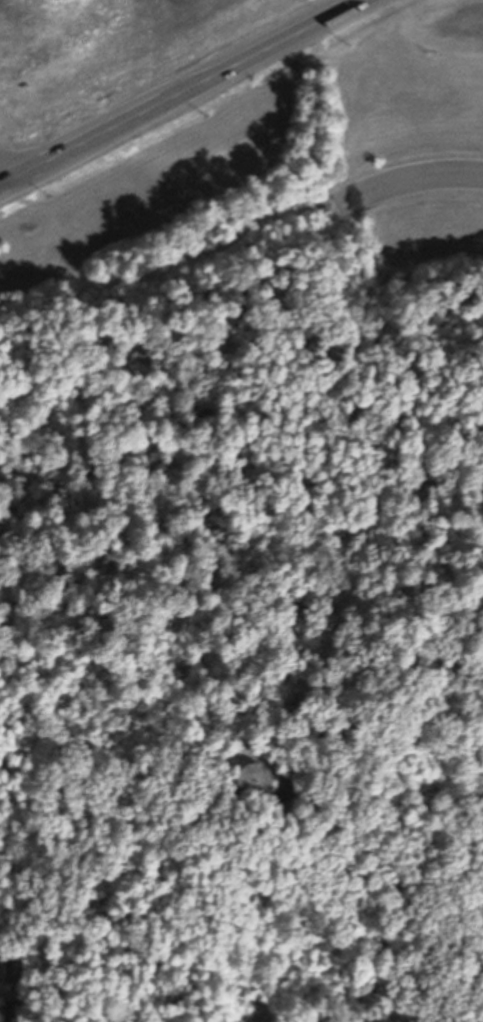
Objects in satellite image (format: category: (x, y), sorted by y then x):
road: (181, 92)
road: (408, 179)
building: (267, 777)
building: (14, 965)
building: (8, 1008)

